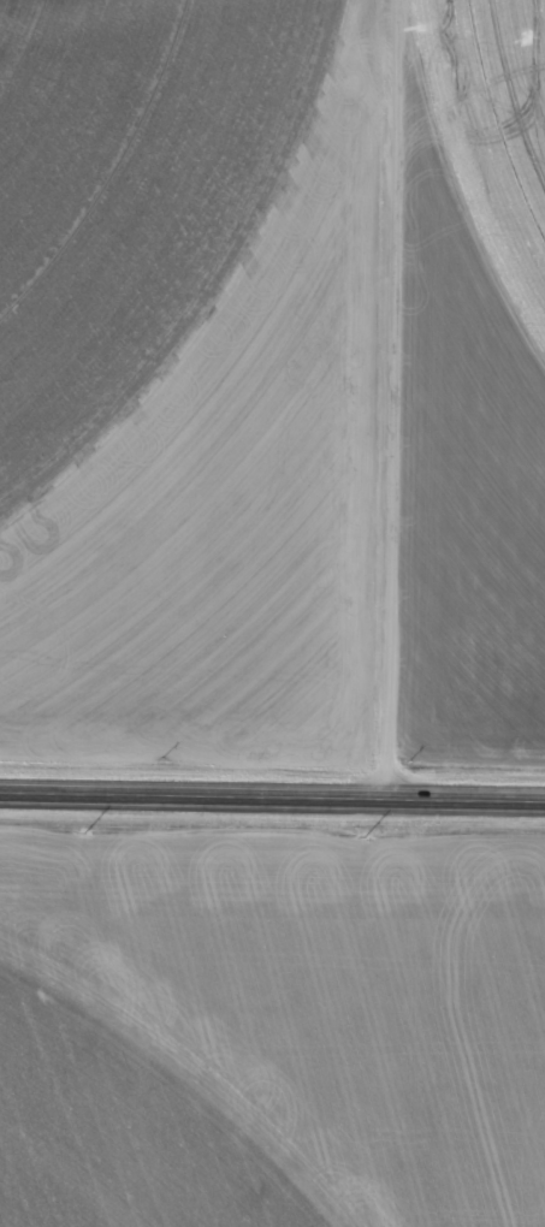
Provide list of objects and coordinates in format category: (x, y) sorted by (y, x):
road: (378, 402)
road: (272, 800)

